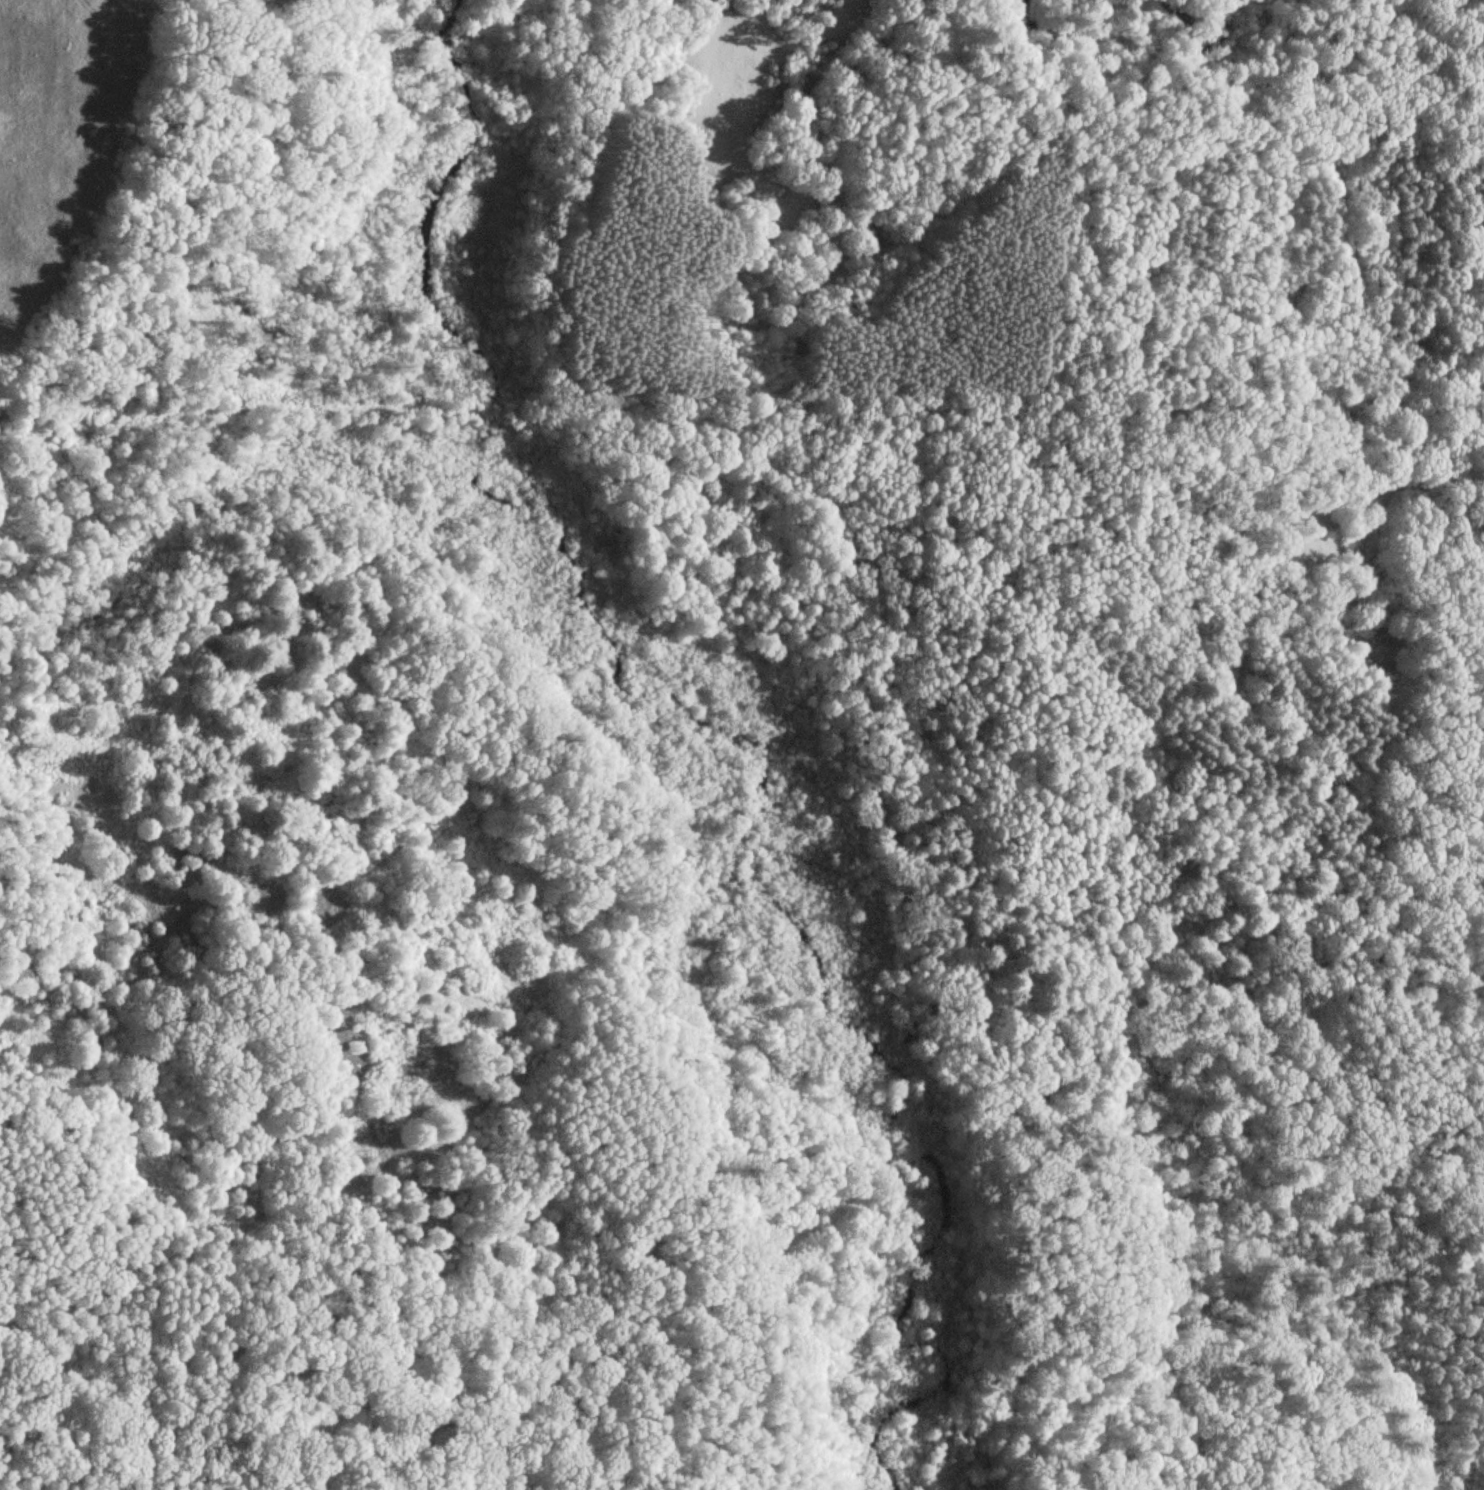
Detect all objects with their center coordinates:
road: (1418, 116)
road: (742, 412)

